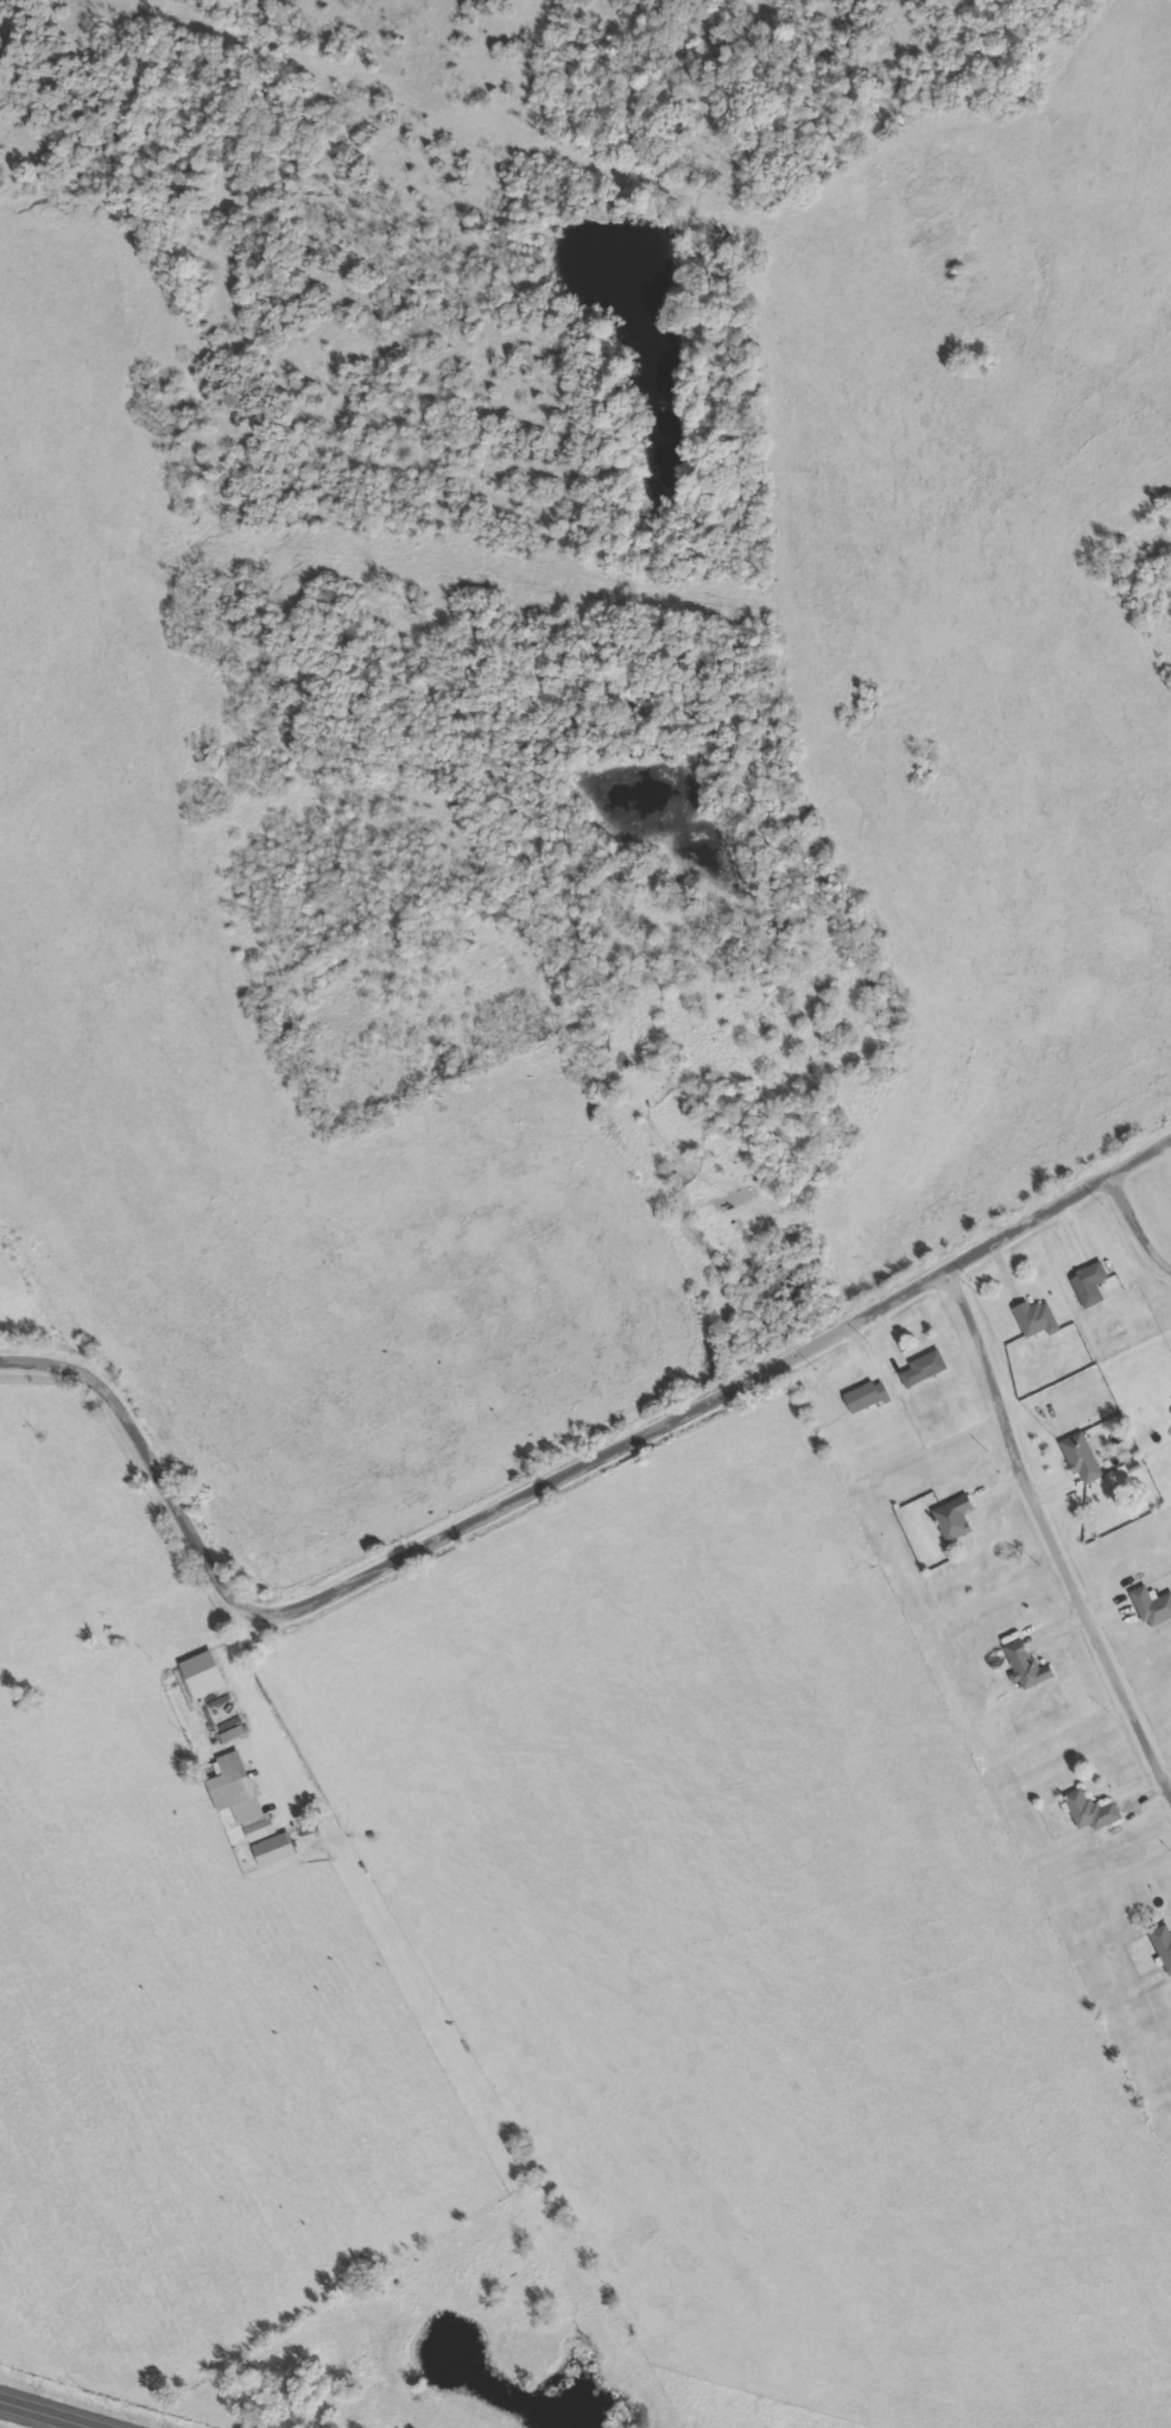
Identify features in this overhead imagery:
road: (627, 1129)
road: (1132, 1224)
building: (1091, 1284)
building: (1038, 1319)
building: (925, 1368)
building: (865, 1398)
building: (1083, 1458)
road: (547, 1472)
building: (955, 1518)
road: (1047, 1533)
building: (1152, 1607)
building: (1027, 1666)
building: (230, 1790)
building: (1093, 1812)
building: (260, 1831)
building: (274, 1850)
building: (1164, 1944)
road: (439, 2032)
road: (64, 2408)

